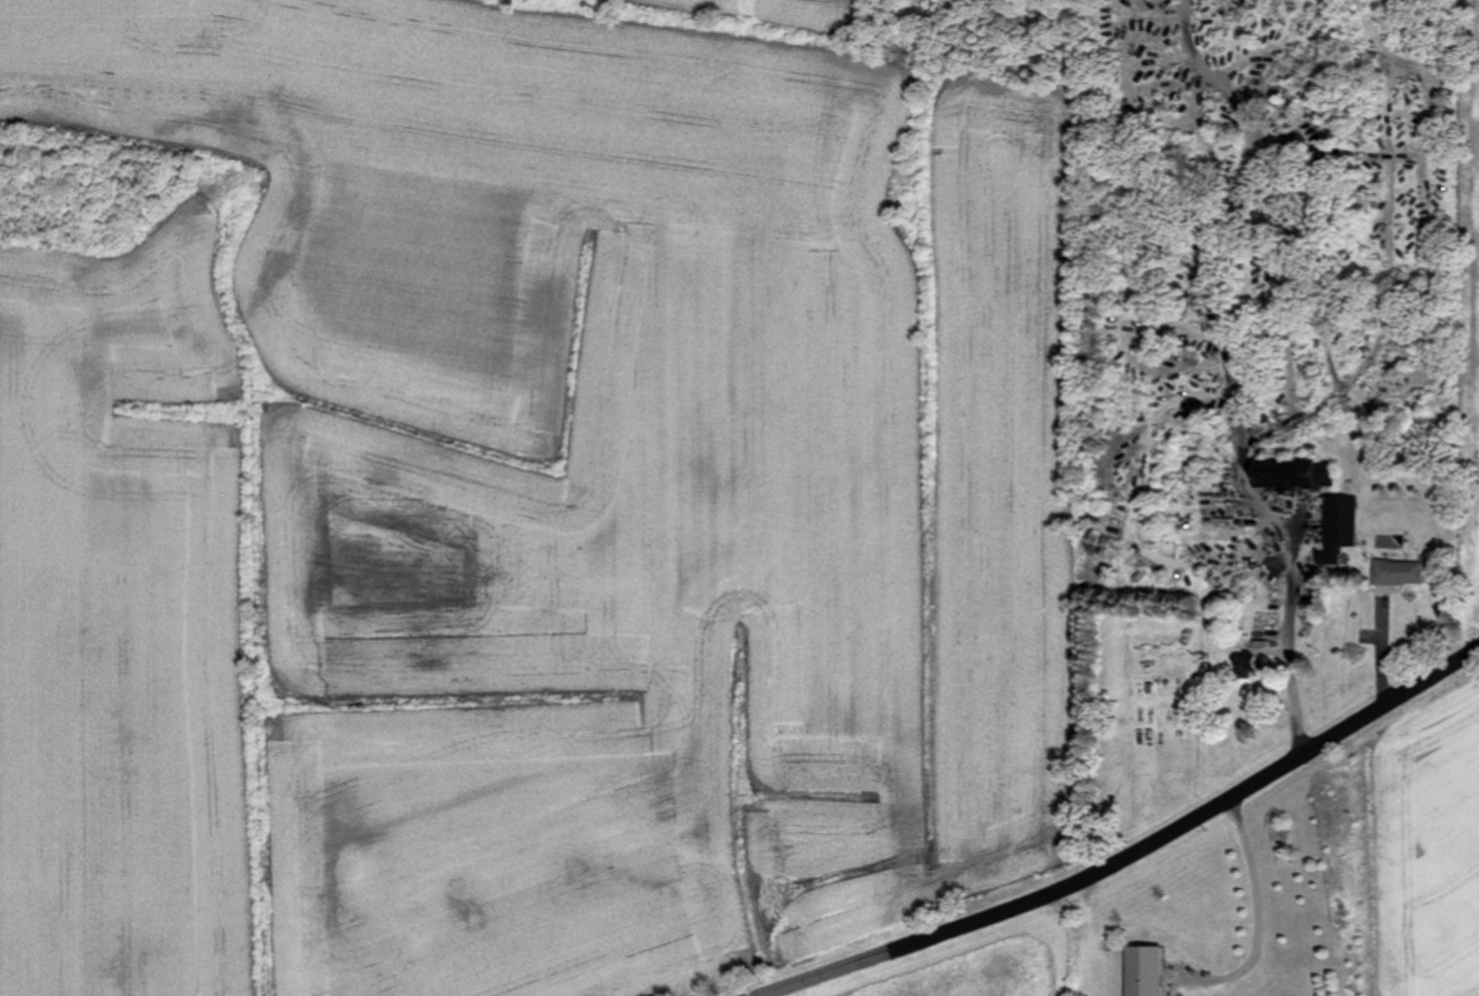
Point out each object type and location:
building: (1295, 474)
building: (1340, 529)
building: (1399, 573)
road: (1291, 654)
building: (1246, 667)
road: (1134, 856)
road: (1260, 910)
building: (1146, 971)

